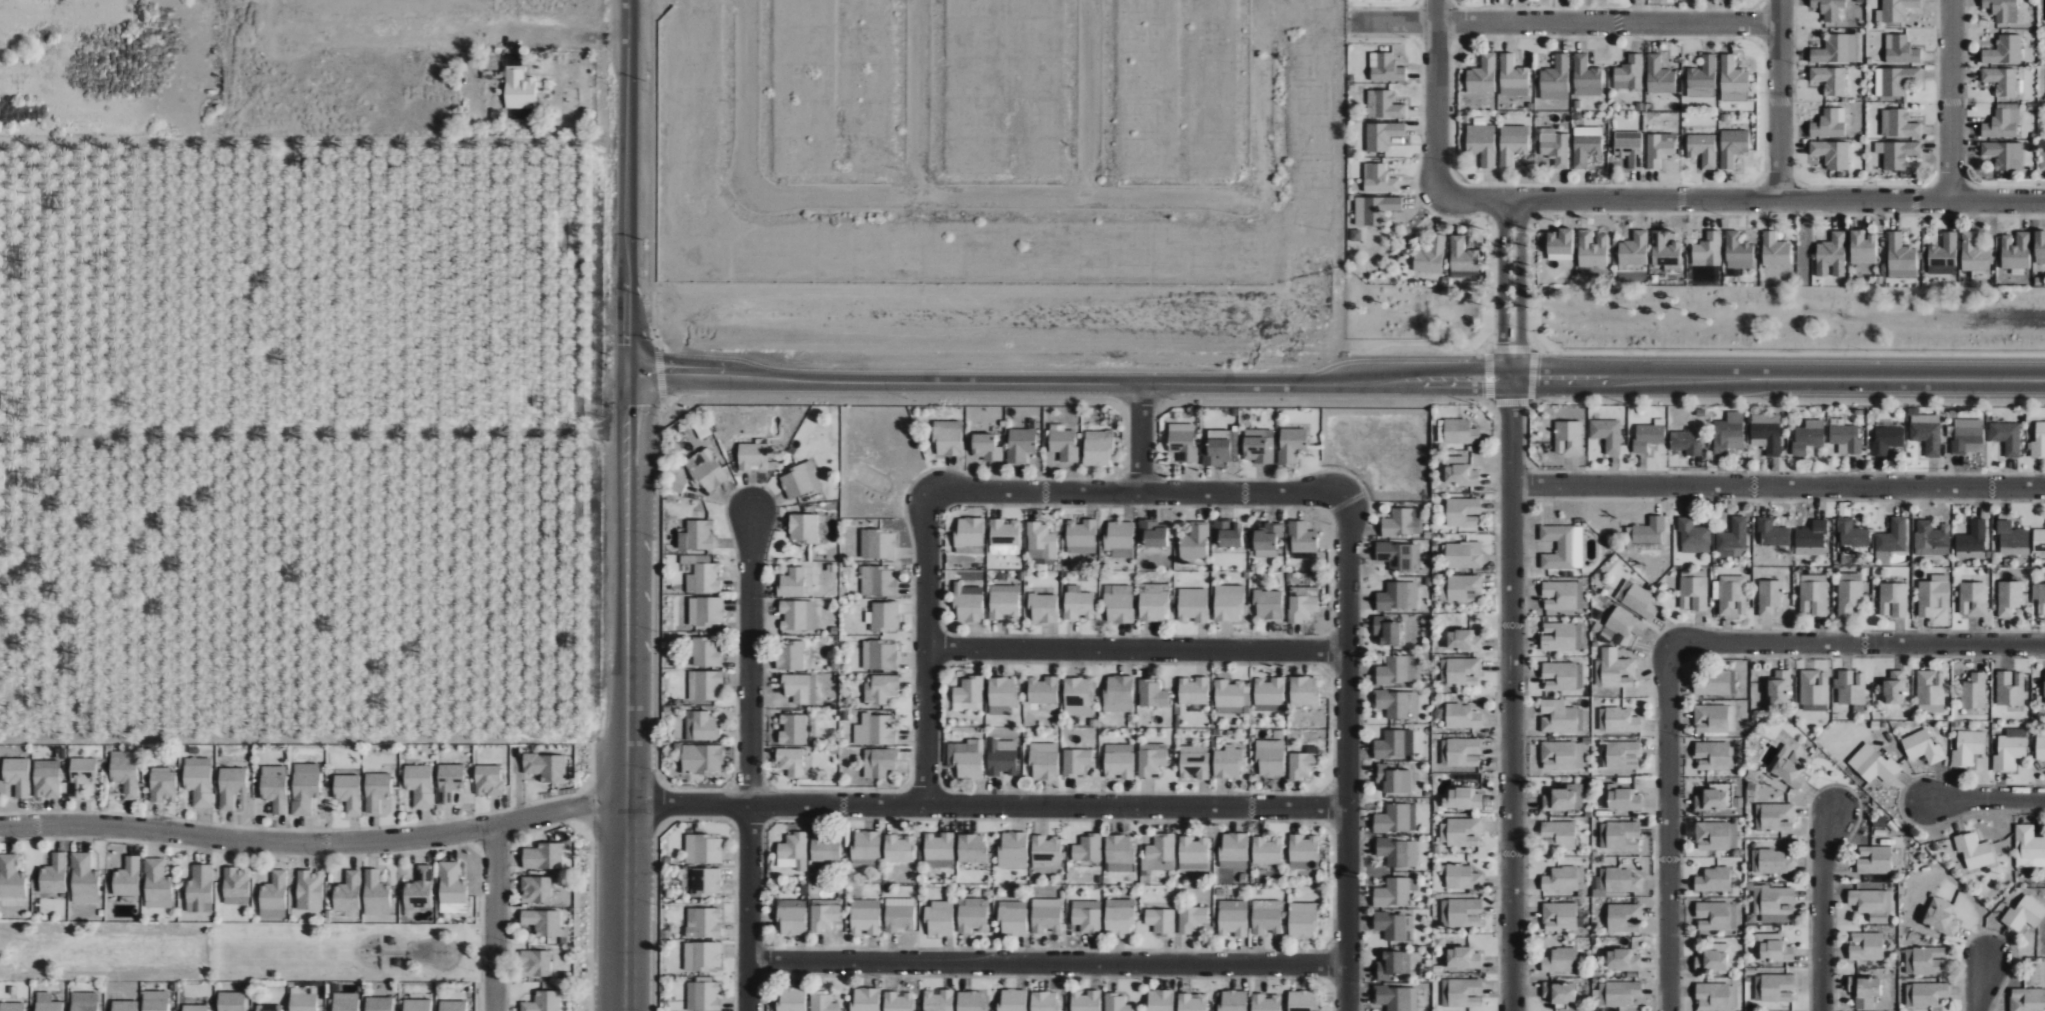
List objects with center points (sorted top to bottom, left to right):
road: (1418, 4)
road: (1454, 4)
road: (1452, 5)
road: (1761, 5)
road: (1384, 8)
building: (1827, 8)
road: (1608, 9)
building: (1896, 9)
building: (2001, 10)
road: (1561, 22)
road: (1762, 23)
road: (1453, 40)
road: (571, 41)
road: (1417, 41)
road: (1761, 42)
road: (1449, 49)
building: (1835, 49)
building: (1899, 50)
building: (2002, 50)
building: (1384, 68)
building: (1629, 71)
building: (1481, 73)
building: (1511, 74)
building: (1554, 74)
building: (1585, 74)
building: (1702, 74)
building: (1731, 75)
building: (1658, 76)
building: (1828, 79)
building: (1896, 80)
building: (2000, 80)
building: (520, 89)
road: (1435, 97)
building: (1734, 97)
road: (1778, 100)
road: (1949, 100)
building: (1382, 104)
building: (1897, 123)
building: (1827, 124)
building: (1998, 125)
road: (1963, 130)
building: (1382, 135)
building: (1731, 146)
building: (1481, 147)
building: (1511, 147)
building: (1584, 147)
building: (1701, 149)
building: (1657, 150)
building: (1555, 151)
building: (1628, 151)
building: (1831, 154)
building: (2003, 154)
building: (1897, 155)
building: (2044, 156)
building: (1377, 178)
road: (1796, 181)
road: (1760, 182)
road: (1778, 182)
road: (1932, 182)
road: (1967, 182)
road: (1949, 183)
road: (1864, 186)
road: (1741, 201)
building: (1374, 209)
road: (1472, 215)
road: (1509, 217)
road: (1530, 218)
road: (1490, 220)
building: (1560, 241)
building: (1861, 243)
building: (2039, 244)
building: (1736, 247)
building: (1707, 248)
building: (1633, 249)
building: (1590, 250)
building: (1663, 250)
building: (1774, 250)
building: (1831, 250)
building: (2015, 251)
building: (1898, 252)
building: (1942, 253)
building: (1972, 253)
building: (1429, 255)
building: (1462, 256)
road: (1527, 281)
road: (1501, 289)
road: (1519, 289)
road: (1487, 346)
road: (1533, 346)
road: (1510, 348)
traffic signals: (626, 351)
traffic signals: (641, 375)
road: (722, 375)
road: (1531, 375)
road: (1488, 376)
road: (1676, 379)
road: (1063, 383)
road: (1787, 400)
road: (1510, 404)
road: (1490, 405)
traffic signals: (627, 406)
building: (1460, 431)
building: (1730, 432)
road: (313, 433)
building: (1767, 433)
building: (1927, 433)
building: (1607, 434)
road: (1337, 436)
building: (1648, 436)
building: (1808, 436)
building: (1968, 436)
building: (1568, 437)
building: (2007, 437)
building: (948, 438)
road: (1140, 438)
building: (1846, 438)
building: (1887, 439)
building: (1182, 441)
building: (2039, 441)
building: (1686, 442)
building: (1063, 443)
building: (1020, 444)
building: (1291, 444)
road: (1331, 444)
building: (1258, 445)
building: (985, 447)
building: (1217, 448)
building: (1097, 449)
road: (1342, 450)
building: (752, 456)
road: (1355, 457)
building: (706, 470)
building: (1460, 475)
building: (799, 480)
road: (1778, 486)
road: (1138, 492)
road: (626, 505)
building: (1462, 512)
building: (1402, 522)
building: (803, 528)
building: (1649, 530)
building: (968, 532)
building: (1004, 533)
building: (1152, 533)
building: (1227, 533)
building: (1772, 533)
building: (1852, 534)
building: (696, 535)
building: (1693, 536)
building: (1081, 537)
building: (1892, 538)
building: (1119, 539)
building: (1733, 539)
building: (1811, 539)
building: (1932, 539)
building: (2012, 539)
building: (1267, 540)
building: (1302, 540)
building: (2039, 540)
building: (1041, 541)
building: (1194, 541)
building: (1972, 541)
building: (877, 544)
building: (1563, 546)
building: (1399, 555)
building: (1463, 555)
building: (704, 578)
building: (1814, 578)
building: (878, 581)
building: (791, 582)
building: (1464, 589)
building: (1443, 591)
building: (1693, 593)
building: (1559, 595)
building: (1732, 595)
building: (1398, 596)
building: (1769, 596)
building: (1849, 597)
building: (2009, 597)
building: (2039, 597)
building: (1814, 598)
building: (1973, 598)
building: (1637, 599)
building: (1893, 599)
building: (1004, 601)
building: (1153, 602)
building: (968, 603)
building: (1078, 603)
building: (1228, 603)
building: (1302, 603)
building: (1118, 604)
building: (1268, 604)
building: (1193, 605)
building: (1043, 608)
building: (706, 611)
building: (797, 615)
building: (883, 616)
building: (1623, 624)
building: (1386, 630)
building: (1561, 636)
building: (1463, 640)
road: (1863, 644)
road: (924, 648)
road: (1134, 649)
building: (706, 651)
building: (790, 655)
building: (879, 655)
building: (1616, 669)
building: (1397, 670)
building: (1463, 672)
building: (1559, 676)
building: (1712, 682)
building: (704, 685)
building: (1779, 686)
building: (796, 687)
building: (1814, 687)
building: (1895, 687)
building: (2010, 688)
building: (880, 689)
building: (1853, 689)
building: (969, 690)
building: (1043, 690)
building: (1194, 691)
building: (1304, 691)
building: (1931, 691)
building: (1974, 691)
building: (1229, 693)
building: (1119, 694)
building: (1152, 694)
building: (1002, 695)
building: (1078, 695)
building: (1269, 695)
road: (1511, 695)
building: (2044, 702)
building: (1394, 703)
building: (1230, 710)
building: (1462, 716)
building: (1557, 716)
building: (1711, 718)
building: (1622, 720)
building: (701, 726)
building: (793, 729)
building: (876, 730)
building: (1390, 745)
building: (1923, 747)
building: (1968, 748)
building: (2040, 748)
building: (2010, 750)
building: (1463, 752)
building: (1562, 755)
building: (1602, 755)
building: (1623, 755)
building: (1712, 755)
road: (1345, 756)
building: (1002, 757)
building: (966, 758)
building: (1270, 758)
building: (701, 759)
road: (749, 759)
building: (1152, 759)
building: (791, 761)
building: (1044, 761)
building: (1076, 761)
building: (1119, 761)
building: (879, 762)
building: (1195, 762)
building: (1227, 763)
building: (1303, 763)
building: (1873, 764)
road: (591, 766)
building: (549, 767)
building: (1790, 767)
building: (83, 775)
building: (18, 776)
building: (127, 776)
building: (48, 779)
building: (1394, 779)
building: (491, 781)
building: (201, 782)
building: (451, 782)
building: (421, 785)
building: (164, 788)
building: (232, 788)
building: (378, 791)
building: (276, 792)
building: (307, 792)
building: (351, 793)
building: (1564, 798)
building: (1462, 799)
building: (1622, 799)
road: (1984, 799)
building: (1710, 800)
road: (985, 805)
road: (588, 809)
building: (1775, 817)
building: (1396, 818)
road: (1667, 822)
road: (579, 825)
road: (539, 828)
road: (296, 830)
building: (1460, 832)
building: (1559, 834)
road: (589, 835)
building: (1602, 835)
building: (1622, 835)
building: (1712, 836)
road: (491, 840)
road: (314, 844)
building: (866, 844)
building: (825, 848)
building: (971, 848)
building: (1087, 848)
building: (703, 849)
building: (898, 849)
building: (939, 850)
building: (1012, 850)
building: (1234, 850)
building: (1267, 851)
building: (1974, 851)
building: (793, 852)
building: (1046, 852)
building: (1304, 852)
building: (1398, 852)
road: (237, 853)
building: (1119, 853)
building: (1194, 854)
building: (1159, 855)
building: (545, 857)
building: (1874, 859)
building: (1775, 862)
building: (55, 874)
building: (85, 877)
building: (129, 877)
building: (12, 878)
building: (1462, 878)
building: (1560, 879)
building: (1620, 880)
building: (1714, 880)
building: (705, 881)
building: (159, 882)
building: (239, 882)
building: (202, 884)
building: (453, 886)
building: (421, 889)
building: (312, 890)
building: (537, 890)
building: (276, 891)
building: (350, 892)
building: (379, 892)
building: (1395, 892)
building: (1867, 901)
building: (1777, 903)
road: (1822, 909)
building: (1464, 912)
building: (2024, 914)
building: (1046, 915)
building: (1712, 916)
building: (1733, 916)
building: (1940, 916)
building: (791, 917)
building: (824, 917)
building: (865, 917)
building: (973, 917)
building: (1087, 917)
building: (1119, 917)
building: (1267, 917)
building: (1559, 917)
road: (493, 918)
building: (898, 918)
building: (1013, 918)
building: (1234, 918)
building: (1624, 918)
building: (939, 919)
building: (1192, 919)
building: (1303, 920)
building: (704, 921)
building: (1161, 921)
building: (544, 922)
road: (506, 923)
road: (480, 926)
road: (589, 926)
building: (1395, 926)
road: (359, 941)
building: (390, 941)
building: (1866, 946)
building: (1772, 948)
park: (238, 952)
park: (368, 953)
road: (458, 954)
road: (469, 954)
building: (701, 955)
building: (1463, 958)
building: (1714, 959)
building: (1560, 960)
building: (1623, 960)
building: (1925, 961)
building: (396, 963)
road: (1046, 963)
building: (537, 964)
building: (1393, 964)
road: (1980, 984)
building: (1774, 988)
building: (1864, 991)
building: (1559, 992)
building: (1462, 993)
building: (1617, 993)
building: (1928, 994)
building: (1908, 995)
building: (703, 996)
building: (1713, 997)
building: (1393, 998)
building: (865, 999)
building: (791, 1000)
building: (938, 1000)
building: (1013, 1000)
building: (1160, 1000)
building: (2027, 1000)
building: (233, 1001)
building: (971, 1001)
building: (1045, 1001)
building: (1085, 1001)
building: (1234, 1001)
building: (1301, 1001)
building: (544, 1002)
building: (822, 1002)
building: (897, 1002)
building: (1192, 1002)
building: (306, 1003)
building: (1117, 1003)
building: (1266, 1003)
building: (348, 1004)
building: (158, 1005)
building: (381, 1005)
building: (419, 1005)
building: (127, 1006)
building: (455, 1006)
building: (13, 1007)
building: (51, 1007)
building: (87, 1007)
building: (198, 1008)
building: (271, 1008)

